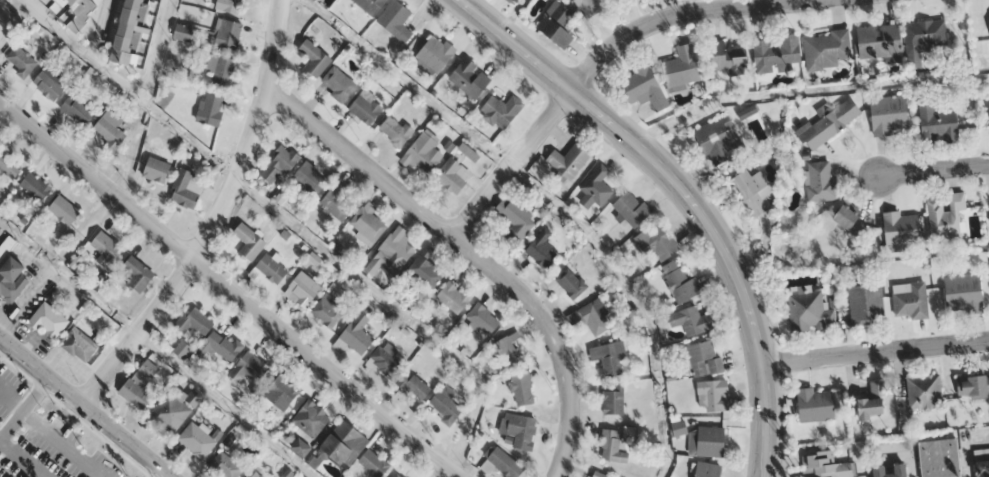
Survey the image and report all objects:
building: (510, 0)
building: (230, 5)
building: (370, 5)
building: (589, 7)
building: (73, 10)
road: (678, 15)
building: (395, 19)
building: (557, 25)
building: (1, 27)
road: (100, 29)
building: (135, 32)
building: (184, 32)
building: (226, 33)
building: (923, 36)
building: (2, 39)
building: (879, 42)
power tower: (972, 47)
building: (826, 49)
road: (158, 51)
building: (435, 53)
building: (777, 54)
building: (313, 58)
building: (731, 58)
building: (21, 61)
building: (682, 66)
building: (222, 70)
building: (470, 77)
building: (47, 85)
building: (644, 87)
building: (365, 107)
building: (210, 108)
building: (76, 110)
building: (502, 110)
building: (889, 114)
building: (828, 122)
building: (938, 125)
building: (109, 128)
building: (396, 129)
building: (720, 140)
building: (425, 151)
building: (468, 152)
building: (569, 159)
building: (280, 162)
road: (513, 163)
building: (156, 168)
road: (930, 169)
building: (453, 174)
building: (311, 176)
building: (820, 180)
building: (597, 185)
building: (34, 186)
building: (185, 188)
building: (753, 190)
road: (686, 195)
building: (338, 202)
building: (631, 208)
building: (63, 209)
building: (945, 213)
road: (213, 218)
building: (515, 218)
building: (850, 219)
road: (288, 220)
building: (367, 223)
building: (901, 227)
road: (2, 229)
building: (249, 241)
building: (656, 241)
building: (105, 247)
road: (472, 249)
building: (542, 249)
building: (393, 252)
building: (271, 268)
building: (425, 270)
building: (138, 274)
building: (11, 279)
building: (571, 281)
building: (679, 281)
building: (302, 289)
road: (229, 290)
building: (963, 293)
building: (452, 296)
building: (909, 298)
road: (27, 299)
building: (866, 303)
building: (809, 311)
building: (326, 312)
building: (592, 317)
building: (482, 319)
building: (48, 320)
building: (691, 320)
building: (194, 321)
building: (359, 328)
building: (79, 344)
building: (224, 345)
road: (156, 348)
building: (182, 349)
road: (874, 349)
building: (508, 350)
building: (608, 357)
building: (704, 358)
building: (384, 361)
building: (248, 367)
building: (414, 384)
building: (139, 385)
building: (973, 385)
building: (522, 387)
building: (924, 390)
building: (281, 392)
building: (713, 395)
building: (873, 402)
building: (446, 403)
building: (815, 404)
road: (24, 406)
road: (83, 407)
building: (174, 408)
building: (310, 418)
building: (679, 427)
building: (519, 428)
building: (196, 440)
building: (709, 440)
building: (344, 443)
building: (612, 446)
building: (939, 458)
building: (373, 462)
building: (503, 462)
building: (225, 465)
building: (827, 465)
building: (982, 468)
building: (708, 470)
building: (891, 470)
road: (158, 474)
building: (600, 474)
building: (250, 475)
building: (399, 475)

